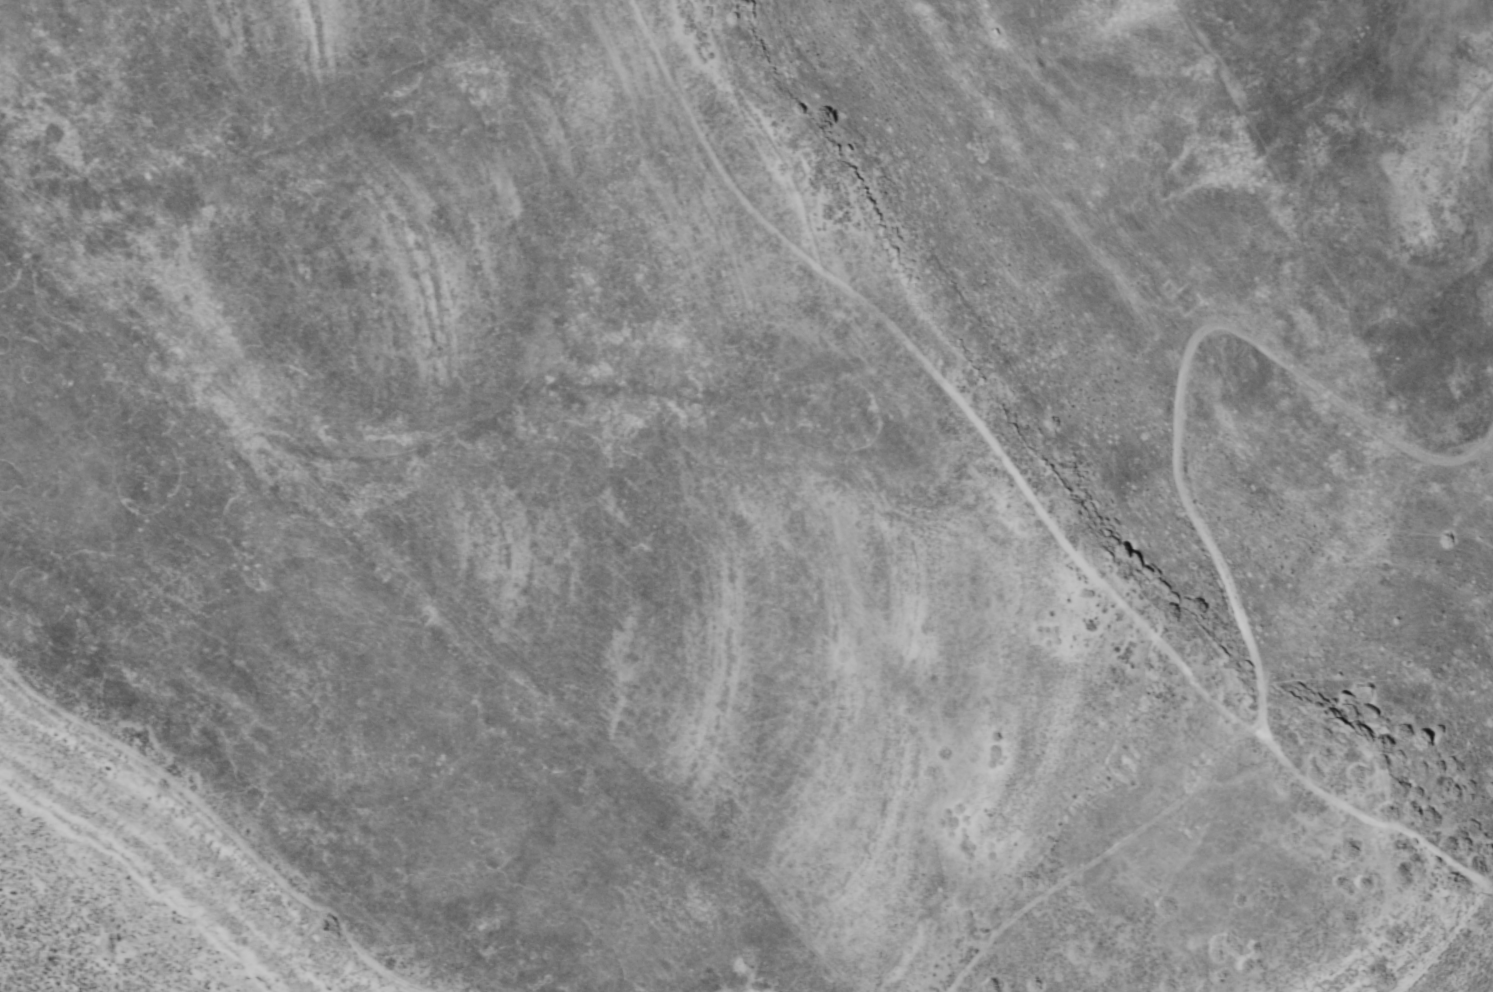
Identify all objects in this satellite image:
road: (1214, 562)
road: (215, 818)
road: (1111, 849)

